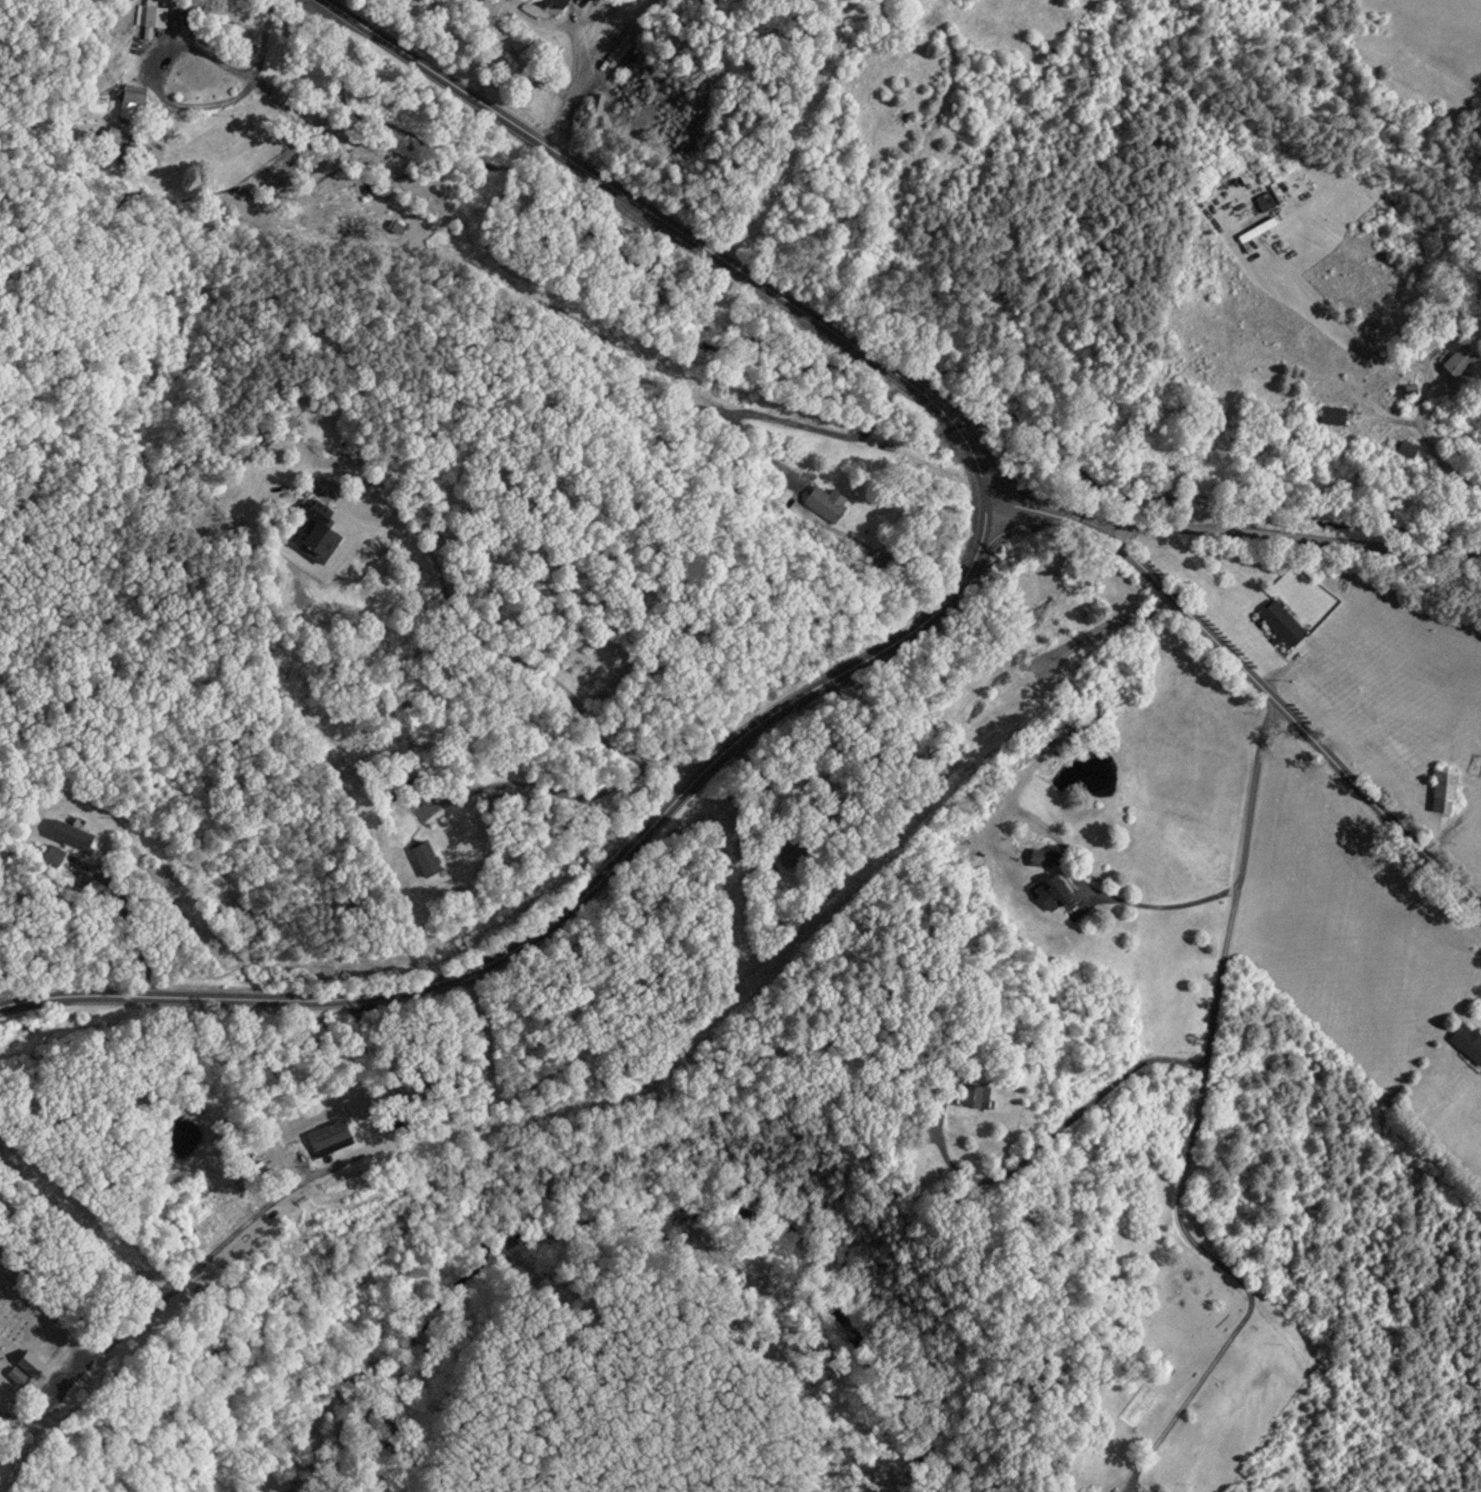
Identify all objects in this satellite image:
building: (557, 2)
building: (147, 19)
road: (264, 35)
road: (589, 69)
road: (152, 79)
building: (128, 99)
building: (111, 137)
building: (1263, 199)
building: (1248, 231)
building: (1458, 357)
building: (1335, 413)
building: (824, 505)
road: (1051, 515)
building: (315, 535)
road: (1290, 535)
building: (1279, 621)
road: (7, 630)
road: (900, 636)
building: (1026, 636)
road: (1292, 718)
building: (1473, 763)
building: (1442, 789)
building: (793, 854)
building: (1036, 856)
building: (423, 857)
building: (1055, 888)
road: (1161, 904)
road: (1, 999)
building: (1467, 1042)
building: (973, 1094)
road: (1192, 1115)
building: (326, 1137)
road: (162, 1291)
building: (26, 1362)
building: (11, 1375)

